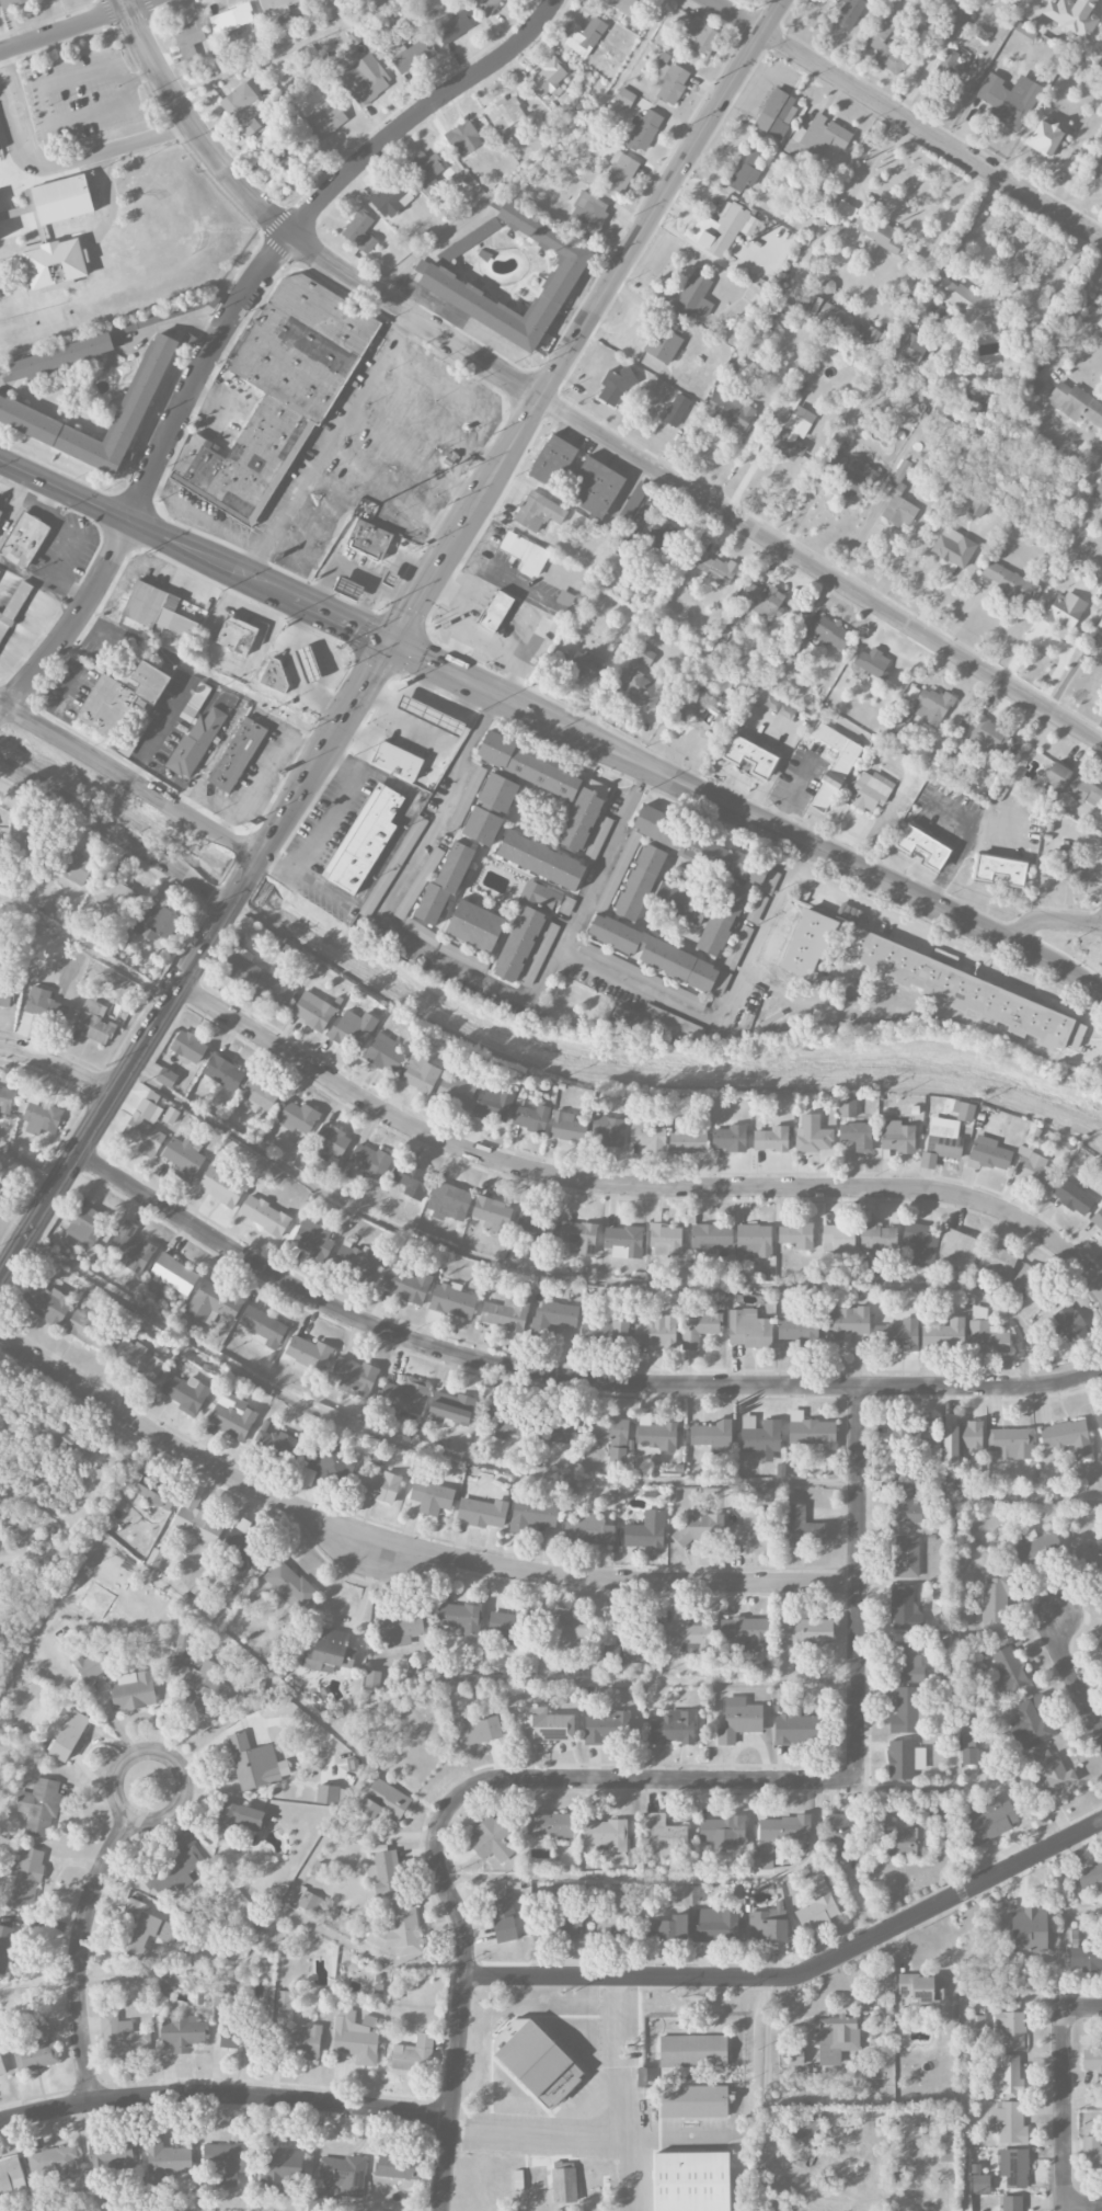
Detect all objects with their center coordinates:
building: (11, 3)
building: (485, 5)
building: (624, 5)
building: (275, 7)
building: (850, 12)
building: (1071, 15)
building: (231, 19)
building: (957, 19)
road: (72, 25)
building: (451, 26)
building: (698, 33)
building: (879, 35)
building: (585, 37)
building: (188, 39)
road: (279, 48)
building: (410, 56)
building: (889, 60)
building: (949, 67)
road: (138, 72)
building: (548, 78)
building: (365, 79)
building: (670, 82)
building: (624, 98)
building: (1009, 100)
building: (242, 109)
road: (47, 112)
building: (504, 113)
building: (776, 113)
building: (325, 118)
road: (907, 118)
building: (643, 130)
building: (463, 137)
building: (817, 137)
building: (1045, 137)
road: (62, 159)
road: (536, 159)
building: (744, 170)
building: (1098, 170)
building: (425, 172)
building: (619, 173)
building: (390, 198)
building: (56, 201)
building: (846, 209)
building: (587, 215)
road: (971, 221)
road: (297, 225)
building: (718, 229)
building: (359, 231)
building: (876, 231)
road: (641, 232)
building: (468, 241)
building: (53, 264)
building: (437, 276)
building: (695, 296)
building: (968, 301)
building: (938, 312)
building: (835, 317)
road: (177, 322)
building: (677, 327)
building: (871, 335)
road: (1068, 335)
building: (663, 344)
building: (916, 350)
building: (61, 356)
road: (434, 380)
building: (1034, 385)
building: (615, 386)
building: (277, 396)
building: (1075, 403)
building: (16, 410)
building: (676, 410)
building: (730, 410)
road: (569, 417)
road: (435, 422)
building: (792, 431)
road: (326, 445)
road: (413, 456)
building: (552, 459)
building: (851, 470)
road: (491, 480)
building: (594, 487)
building: (1098, 491)
road: (391, 492)
building: (898, 498)
building: (1101, 509)
building: (538, 512)
road: (471, 513)
building: (663, 534)
building: (24, 539)
building: (368, 539)
building: (953, 550)
road: (195, 552)
building: (525, 554)
building: (716, 568)
building: (1009, 582)
road: (425, 586)
building: (347, 589)
building: (765, 601)
building: (563, 603)
building: (13, 607)
building: (157, 609)
building: (1061, 611)
building: (495, 612)
road: (74, 623)
building: (1100, 626)
building: (825, 631)
traffic signals: (392, 643)
building: (236, 649)
building: (643, 654)
building: (872, 662)
building: (308, 663)
building: (585, 664)
road: (447, 670)
building: (275, 675)
building: (149, 681)
building: (643, 688)
road: (2, 704)
building: (106, 706)
building: (690, 706)
building: (931, 706)
road: (495, 707)
building: (779, 708)
building: (720, 725)
road: (574, 731)
building: (988, 737)
building: (195, 742)
building: (237, 755)
building: (750, 756)
building: (397, 761)
building: (954, 761)
building: (526, 765)
building: (833, 765)
road: (257, 773)
road: (643, 774)
road: (131, 782)
building: (1069, 784)
building: (471, 786)
building: (870, 790)
road: (271, 794)
road: (793, 795)
building: (490, 809)
building: (583, 814)
road: (229, 816)
road: (330, 820)
building: (655, 828)
building: (27, 831)
road: (115, 833)
building: (597, 837)
building: (365, 840)
building: (922, 847)
building: (540, 859)
building: (724, 859)
road: (952, 863)
building: (1065, 867)
building: (76, 868)
building: (619, 869)
building: (1000, 870)
road: (875, 877)
building: (640, 882)
building: (444, 884)
building: (114, 896)
building: (540, 896)
building: (679, 903)
building: (722, 918)
road: (1051, 919)
building: (157, 923)
building: (474, 925)
road: (89, 935)
building: (518, 944)
building: (737, 946)
building: (654, 953)
building: (539, 954)
road: (194, 958)
building: (241, 966)
road: (462, 968)
building: (920, 969)
building: (275, 990)
building: (5, 994)
building: (45, 1005)
road: (723, 1005)
building: (312, 1011)
building: (623, 1021)
building: (93, 1022)
building: (674, 1022)
building: (353, 1028)
building: (188, 1047)
building: (383, 1053)
road: (56, 1065)
building: (223, 1072)
building: (420, 1073)
building: (167, 1078)
road: (651, 1085)
building: (455, 1091)
building: (255, 1096)
building: (493, 1104)
building: (847, 1108)
building: (963, 1110)
building: (41, 1115)
building: (296, 1116)
building: (530, 1118)
building: (146, 1125)
building: (567, 1127)
building: (609, 1130)
building: (647, 1133)
building: (813, 1135)
building: (857, 1136)
building: (687, 1137)
building: (897, 1137)
building: (728, 1138)
building: (771, 1139)
building: (941, 1141)
building: (330, 1142)
building: (988, 1153)
building: (184, 1155)
building: (369, 1160)
building: (1032, 1170)
road: (27, 1171)
building: (411, 1179)
road: (631, 1184)
building: (221, 1186)
building: (0, 1192)
building: (1074, 1197)
building: (448, 1201)
building: (491, 1212)
building: (264, 1216)
building: (1097, 1219)
building: (537, 1223)
building: (85, 1226)
building: (795, 1235)
building: (578, 1236)
building: (711, 1236)
building: (877, 1236)
building: (838, 1238)
building: (312, 1239)
building: (665, 1240)
building: (754, 1240)
building: (623, 1241)
building: (921, 1243)
building: (129, 1247)
building: (957, 1250)
building: (358, 1261)
building: (996, 1262)
building: (173, 1274)
road: (585, 1279)
building: (1022, 1281)
building: (405, 1283)
building: (452, 1300)
building: (213, 1302)
building: (45, 1303)
building: (505, 1314)
building: (553, 1317)
building: (847, 1324)
building: (1070, 1324)
building: (262, 1326)
building: (698, 1326)
building: (795, 1327)
building: (605, 1329)
building: (748, 1329)
building: (89, 1331)
building: (656, 1331)
building: (943, 1334)
building: (896, 1335)
building: (308, 1353)
building: (137, 1359)
road: (563, 1376)
building: (354, 1377)
building: (185, 1393)
building: (405, 1395)
building: (451, 1409)
building: (231, 1416)
building: (1100, 1421)
building: (505, 1422)
building: (590, 1432)
building: (812, 1432)
building: (914, 1433)
building: (655, 1434)
building: (711, 1434)
building: (760, 1437)
building: (1067, 1437)
building: (960, 1441)
building: (69, 1443)
building: (277, 1443)
road: (416, 1444)
building: (1010, 1444)
building: (328, 1463)
building: (377, 1484)
building: (149, 1491)
building: (432, 1497)
road: (1029, 1501)
building: (902, 1503)
building: (482, 1513)
building: (532, 1515)
building: (195, 1519)
road: (66, 1527)
building: (701, 1527)
building: (802, 1527)
building: (587, 1528)
building: (750, 1529)
building: (646, 1530)
road: (404, 1542)
building: (1036, 1547)
building: (243, 1551)
building: (905, 1557)
building: (1092, 1559)
road: (858, 1581)
building: (289, 1585)
building: (994, 1599)
building: (905, 1609)
building: (460, 1617)
building: (400, 1629)
building: (567, 1629)
building: (805, 1631)
building: (687, 1634)
building: (745, 1634)
building: (1100, 1646)
building: (329, 1652)
building: (625, 1655)
building: (908, 1663)
building: (89, 1666)
building: (1008, 1669)
road: (1072, 1675)
road: (589, 1676)
building: (372, 1679)
building: (203, 1687)
building: (133, 1691)
road: (953, 1701)
road: (306, 1703)
building: (904, 1711)
building: (738, 1720)
building: (1031, 1723)
building: (542, 1725)
building: (607, 1725)
building: (673, 1728)
building: (795, 1728)
building: (478, 1731)
building: (69, 1736)
building: (968, 1750)
road: (171, 1756)
building: (904, 1759)
building: (255, 1763)
building: (1051, 1774)
road: (655, 1778)
building: (330, 1794)
building: (383, 1801)
building: (38, 1807)
building: (234, 1820)
building: (991, 1820)
building: (549, 1825)
building: (723, 1831)
building: (839, 1832)
building: (606, 1834)
building: (663, 1835)
building: (780, 1835)
building: (492, 1838)
building: (902, 1842)
building: (175, 1867)
building: (384, 1873)
building: (1090, 1874)
building: (24, 1877)
building: (307, 1900)
building: (817, 1906)
road: (1082, 1908)
building: (615, 1910)
building: (503, 1919)
building: (716, 1924)
building: (768, 1924)
road: (1063, 1926)
building: (571, 1928)
building: (667, 1928)
building: (146, 1929)
building: (399, 1930)
building: (1029, 1930)
building: (4, 1946)
road: (79, 1953)
building: (1084, 1959)
road: (154, 1969)
road: (801, 1972)
building: (921, 1987)
road: (463, 1993)
building: (220, 1997)
building: (284, 1999)
road: (1082, 2007)
road: (801, 2017)
building: (1011, 2029)
building: (39, 2030)
building: (976, 2031)
building: (182, 2032)
building: (356, 2037)
building: (122, 2038)
building: (836, 2038)
building: (234, 2041)
building: (305, 2041)
building: (692, 2051)
road: (961, 2052)
building: (413, 2054)
building: (36, 2055)
building: (1092, 2059)
building: (791, 2060)
building: (536, 2062)
building: (1, 2068)
building: (1008, 2076)
road: (225, 2093)
building: (693, 2101)
road: (1083, 2106)
road: (1065, 2109)
building: (1008, 2123)
building: (806, 2131)
road: (616, 2133)
road: (633, 2133)
building: (945, 2147)
building: (1092, 2151)
building: (111, 2155)
building: (165, 2156)
building: (226, 2162)
building: (53, 2163)
building: (399, 2167)
building: (1013, 2167)
building: (279, 2172)
building: (344, 2174)
building: (11, 2176)
building: (564, 2181)
building: (691, 2181)
building: (980, 2184)
building: (539, 2185)
building: (1011, 2203)
road: (1083, 2206)

